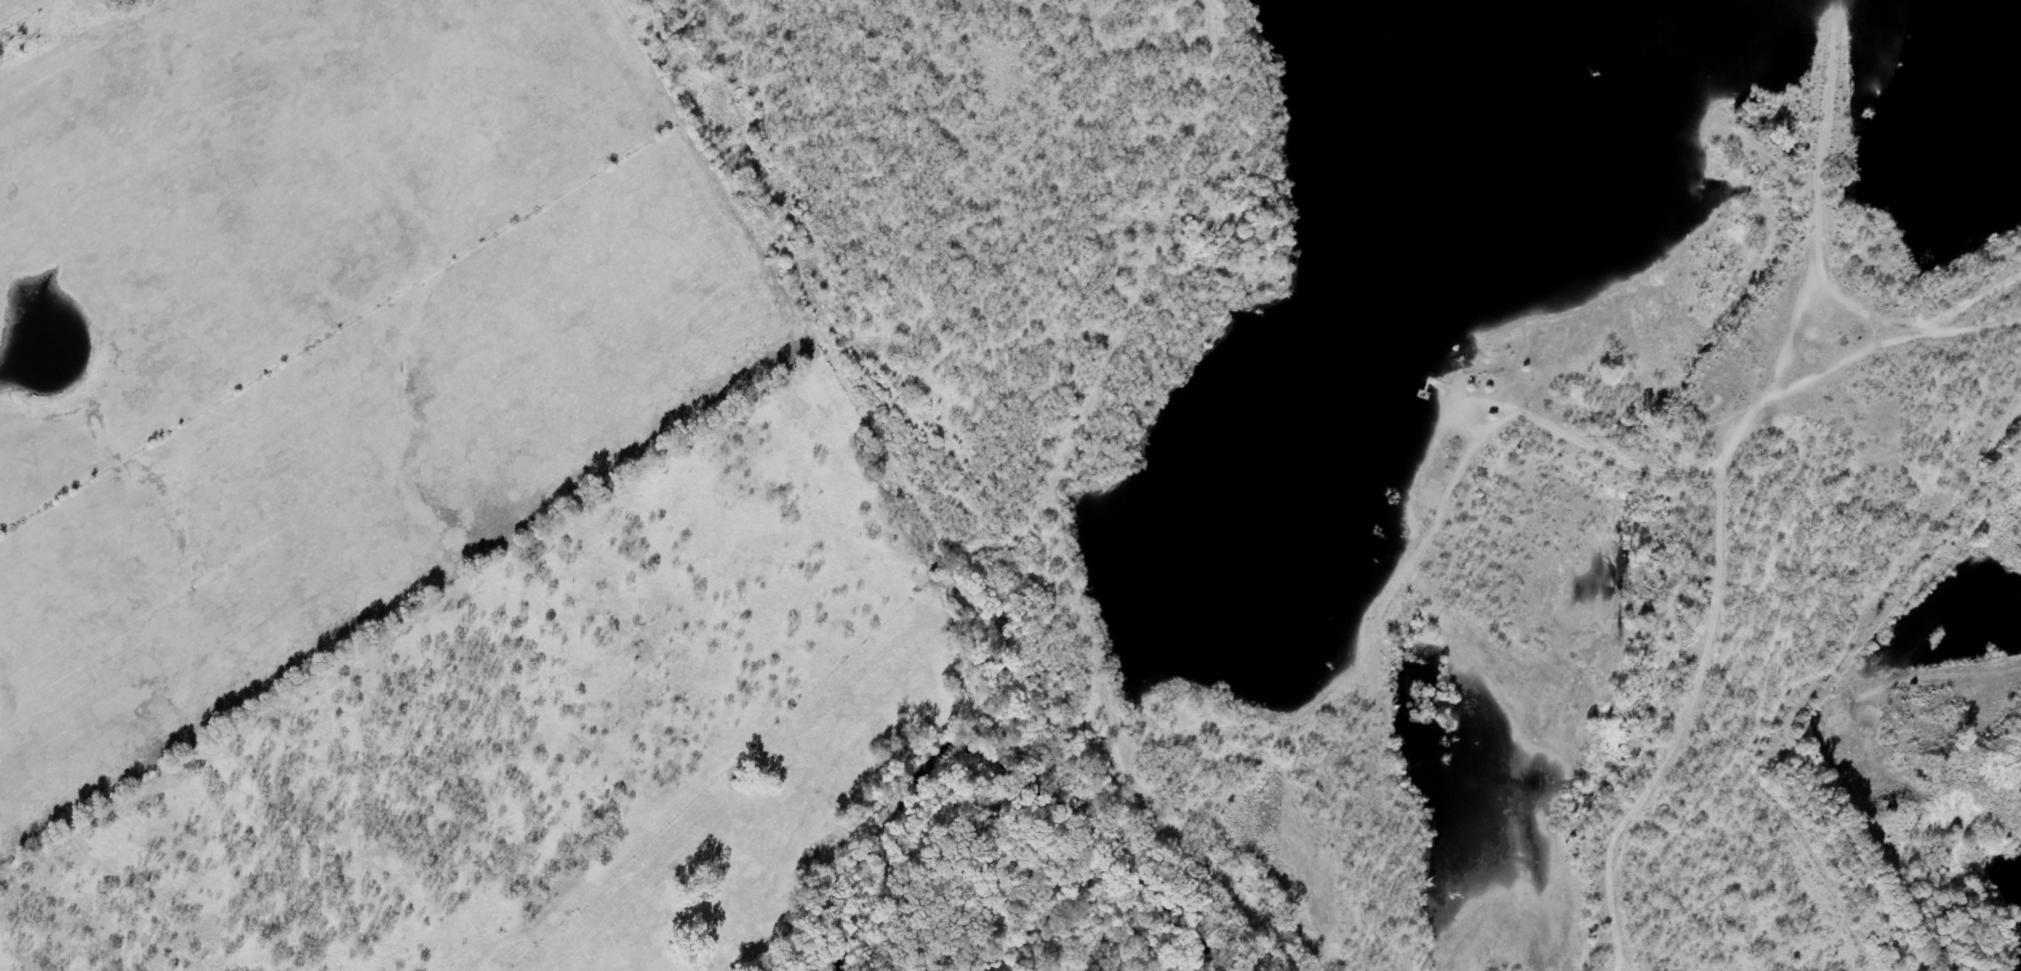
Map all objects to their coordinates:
road: (1867, 128)

